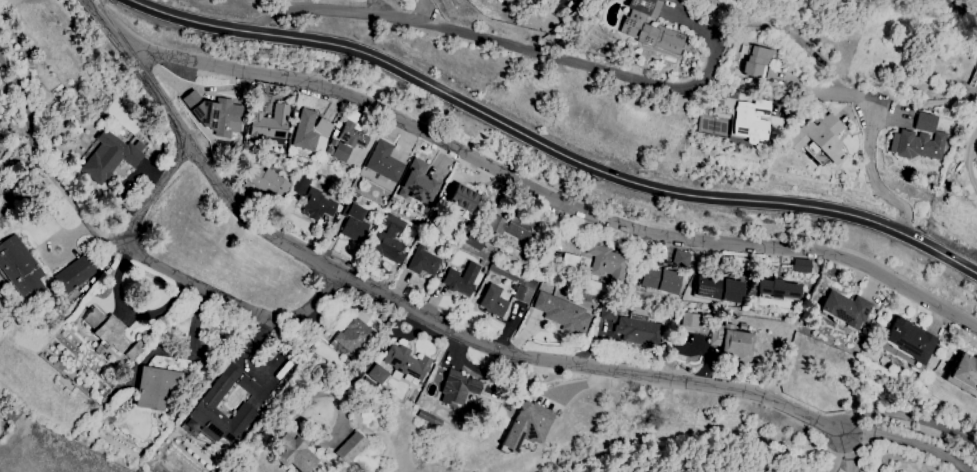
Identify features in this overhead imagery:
road: (969, 3)
road: (380, 9)
road: (422, 10)
building: (648, 27)
road: (561, 58)
building: (757, 63)
building: (215, 115)
building: (750, 120)
road: (22, 122)
building: (924, 122)
building: (270, 127)
building: (311, 131)
building: (354, 136)
building: (818, 140)
building: (915, 145)
road: (548, 148)
building: (109, 158)
road: (969, 160)
building: (385, 162)
building: (420, 176)
road: (874, 176)
building: (302, 185)
building: (273, 187)
road: (160, 190)
road: (551, 199)
building: (464, 200)
building: (319, 206)
building: (354, 224)
building: (512, 228)
building: (394, 240)
building: (682, 259)
building: (607, 261)
building: (570, 262)
building: (424, 264)
building: (802, 266)
building: (20, 268)
building: (75, 275)
road: (184, 279)
building: (661, 281)
building: (462, 282)
building: (781, 290)
building: (721, 291)
building: (523, 296)
building: (494, 302)
road: (406, 310)
building: (848, 310)
building: (609, 312)
building: (563, 314)
building: (691, 322)
building: (352, 331)
building: (635, 332)
building: (113, 335)
building: (913, 342)
building: (738, 347)
road: (372, 350)
building: (407, 363)
building: (967, 372)
building: (378, 376)
building: (458, 384)
building: (156, 389)
building: (207, 405)
road: (908, 418)
building: (530, 428)
road: (906, 444)
building: (352, 448)
road: (851, 452)
road: (835, 453)
building: (296, 454)

